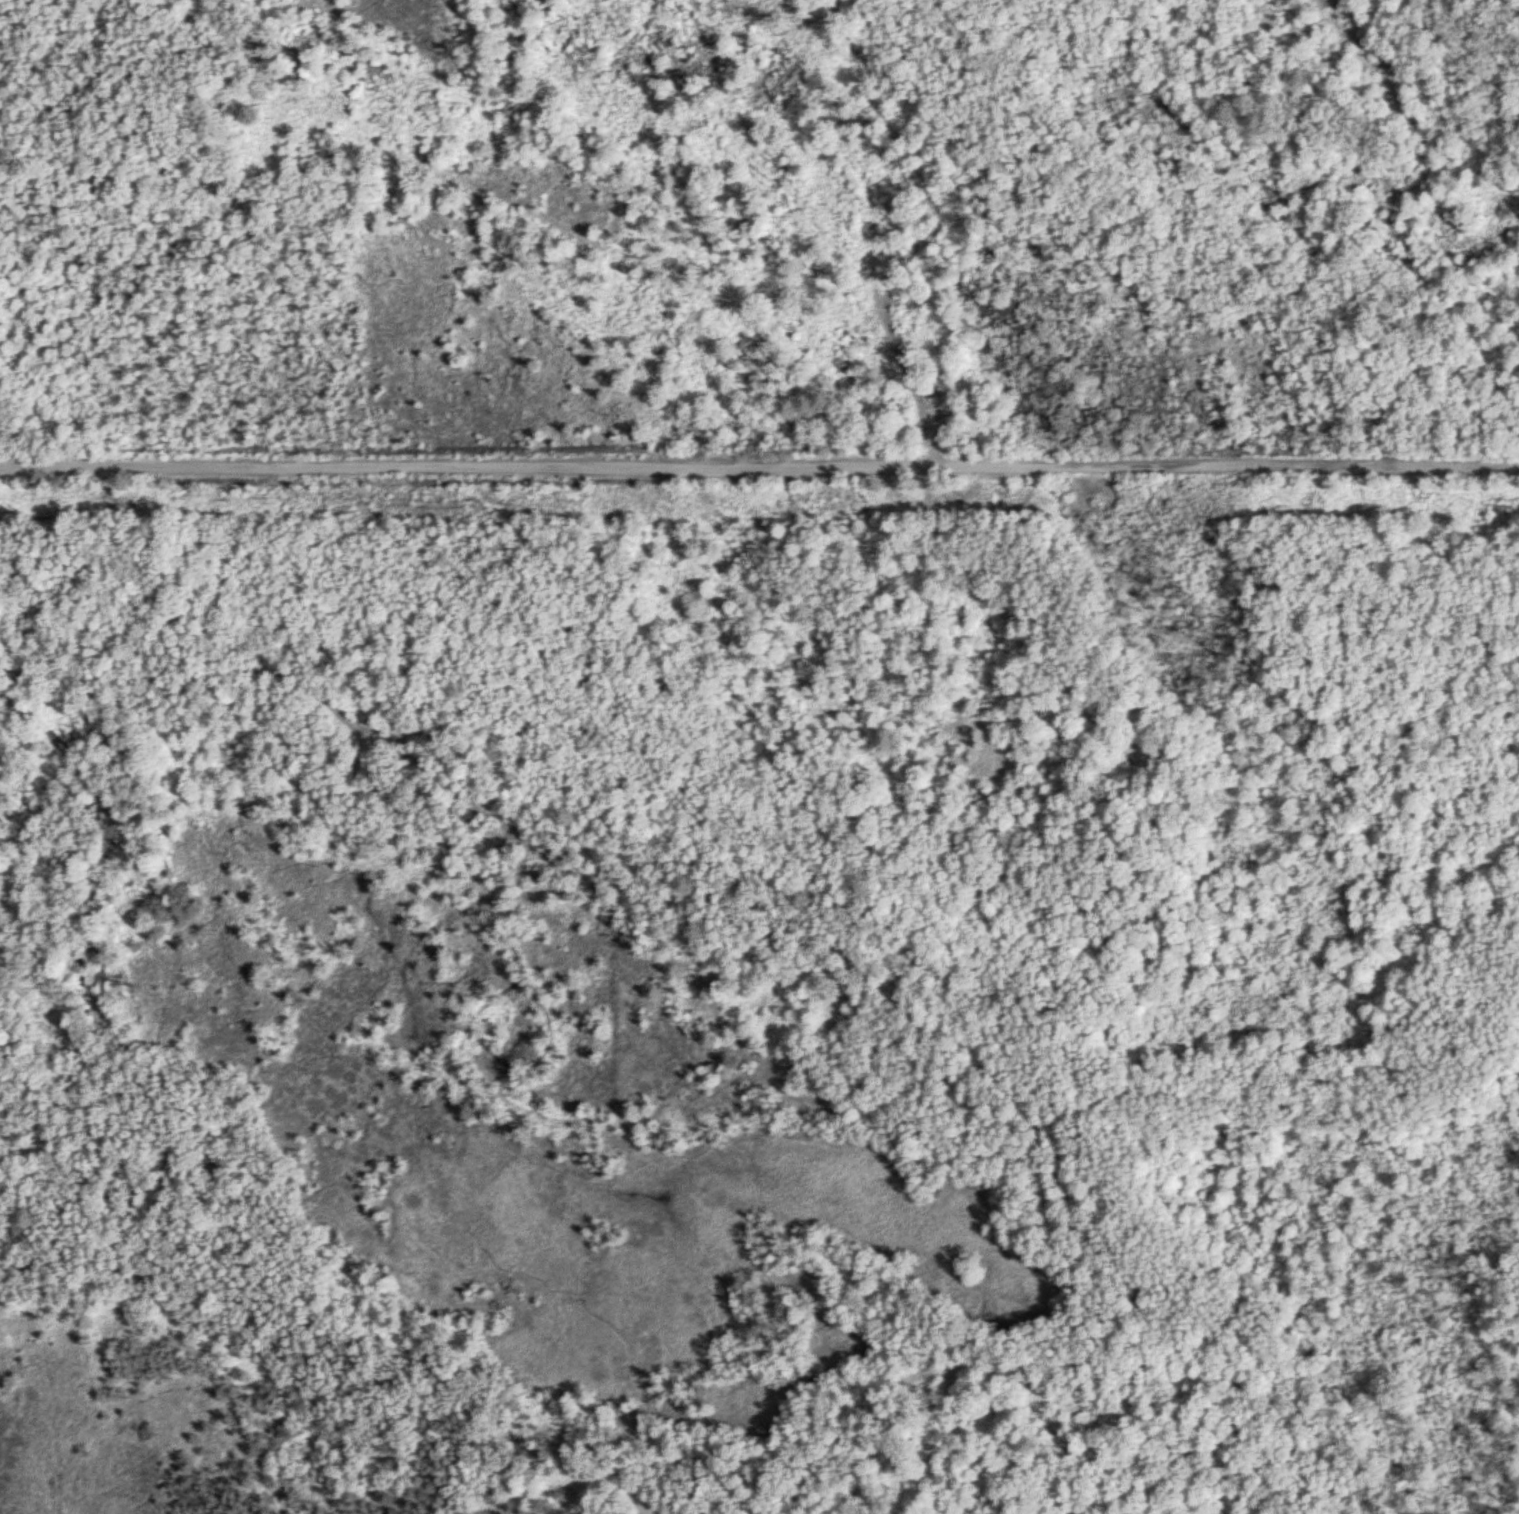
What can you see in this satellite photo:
road: (934, 231)
road: (759, 465)
road: (802, 926)
road: (1079, 1371)
road: (462, 1384)

